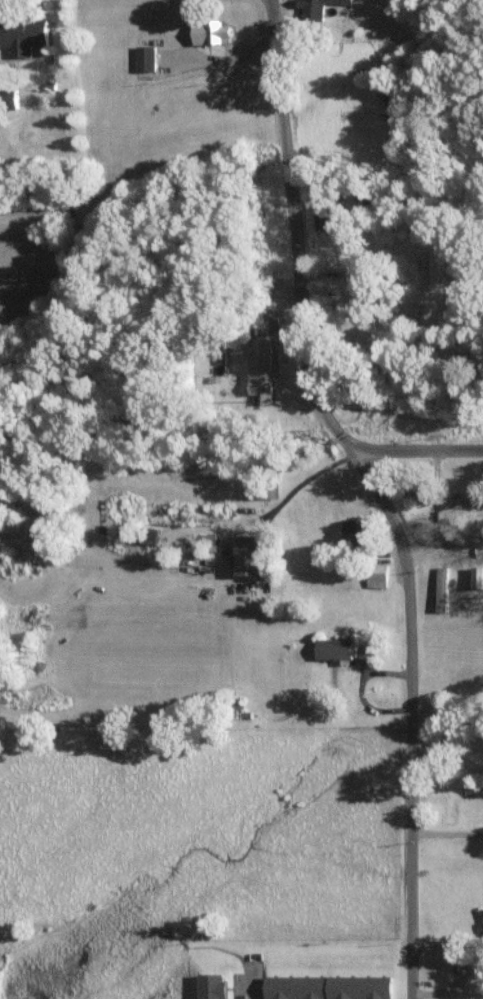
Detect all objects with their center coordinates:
building: (317, 7)
building: (210, 33)
building: (22, 35)
building: (145, 58)
building: (7, 98)
building: (324, 218)
building: (261, 369)
road: (432, 451)
road: (388, 485)
building: (419, 493)
building: (463, 501)
building: (353, 532)
building: (248, 555)
building: (377, 575)
building: (477, 577)
building: (442, 589)
building: (334, 649)
building: (365, 654)
building: (482, 911)
building: (211, 985)
road: (258, 986)
building: (327, 987)

